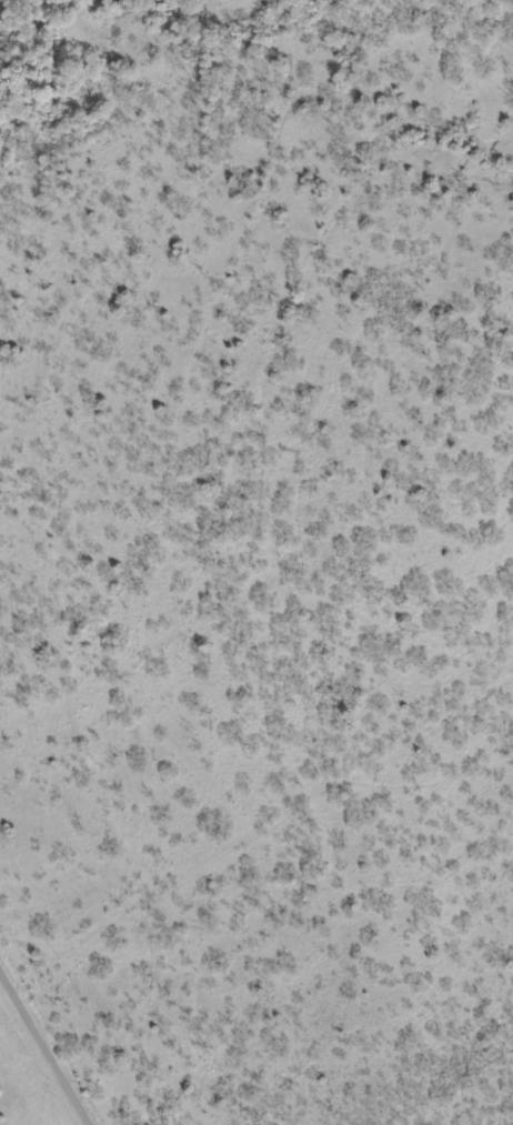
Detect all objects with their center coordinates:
road: (43, 1048)

